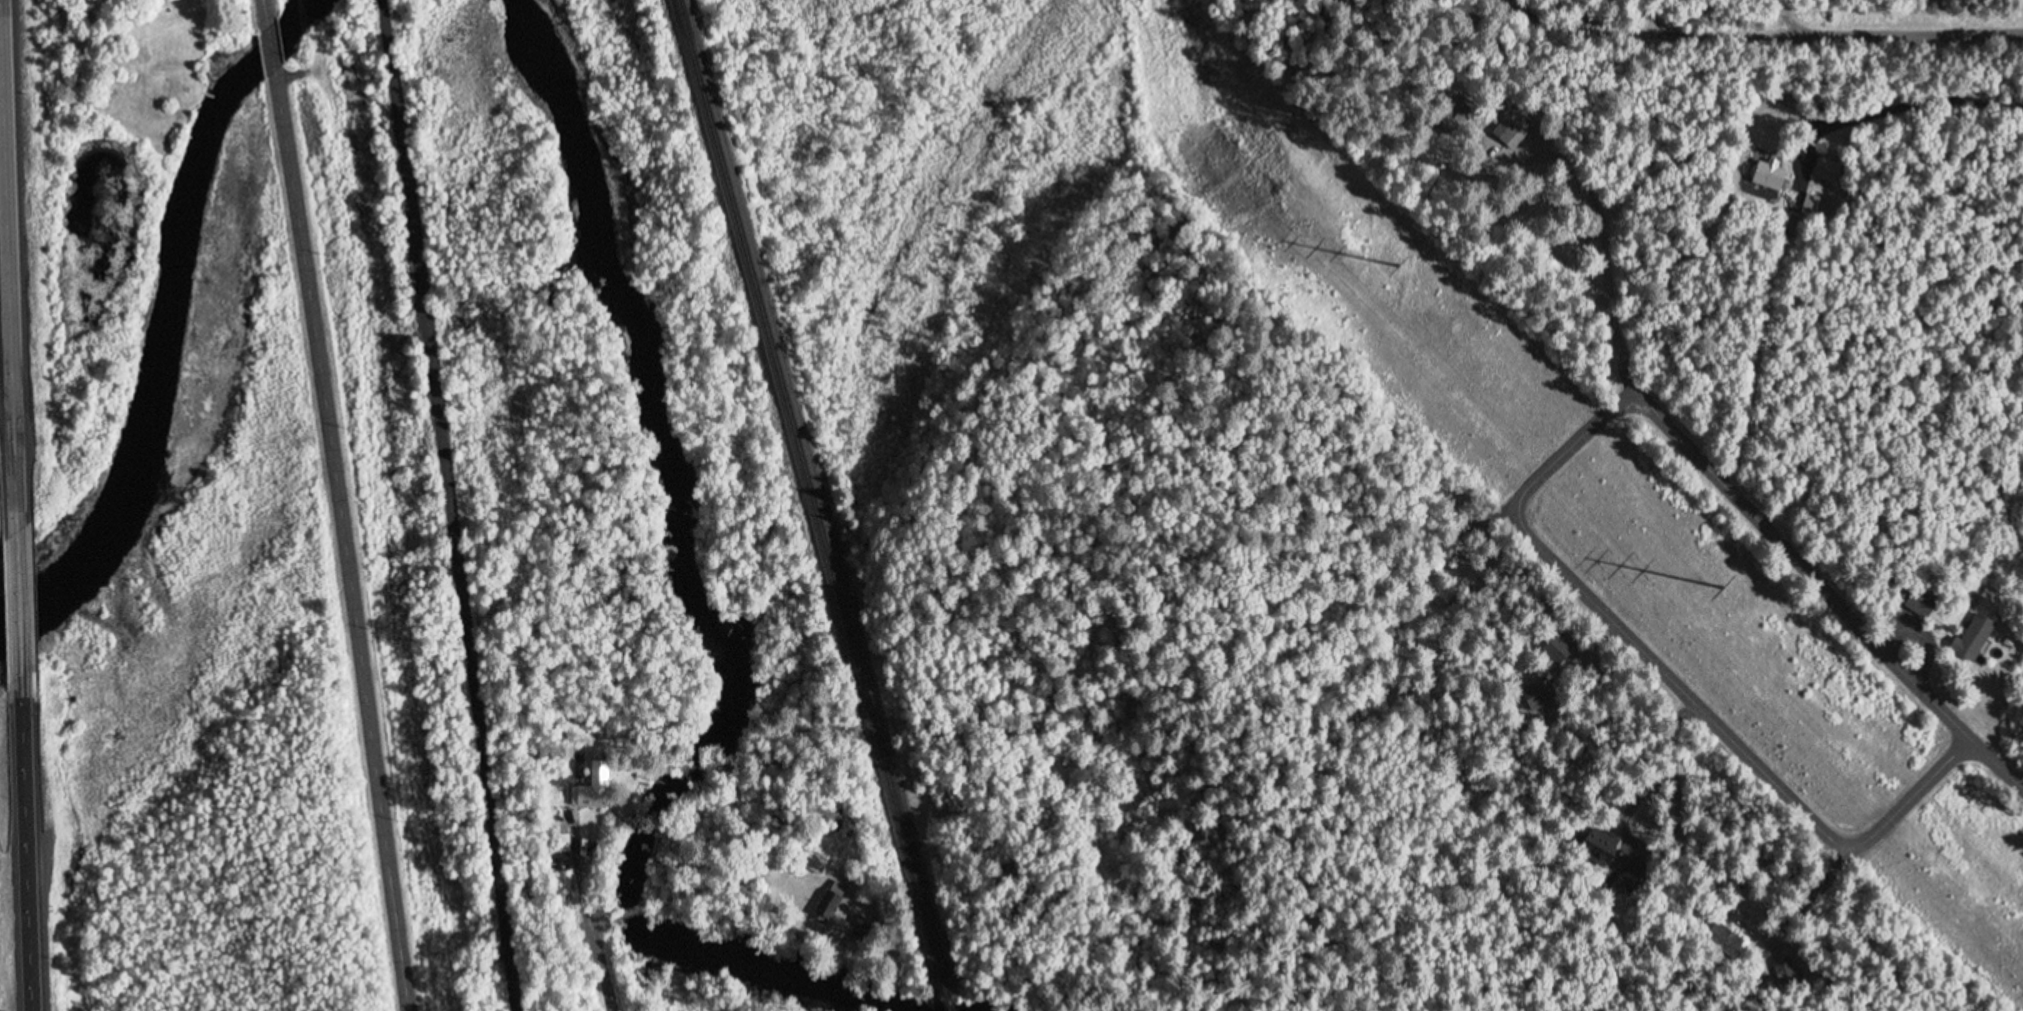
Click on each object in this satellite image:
road: (267, 12)
road: (1845, 38)
road: (274, 46)
road: (1928, 104)
building: (1458, 117)
building: (1510, 129)
building: (1771, 175)
power tower: (1395, 266)
road: (8, 273)
river: (195, 330)
railway: (806, 487)
park: (419, 489)
road: (1736, 489)
road: (449, 505)
road: (341, 540)
river: (713, 570)
power tower: (1722, 588)
road: (19, 604)
building: (1971, 639)
road: (1676, 681)
building: (1534, 696)
building: (592, 785)
road: (25, 842)
building: (816, 858)
building: (1639, 871)
building: (831, 896)
building: (1730, 941)
railway: (948, 991)

